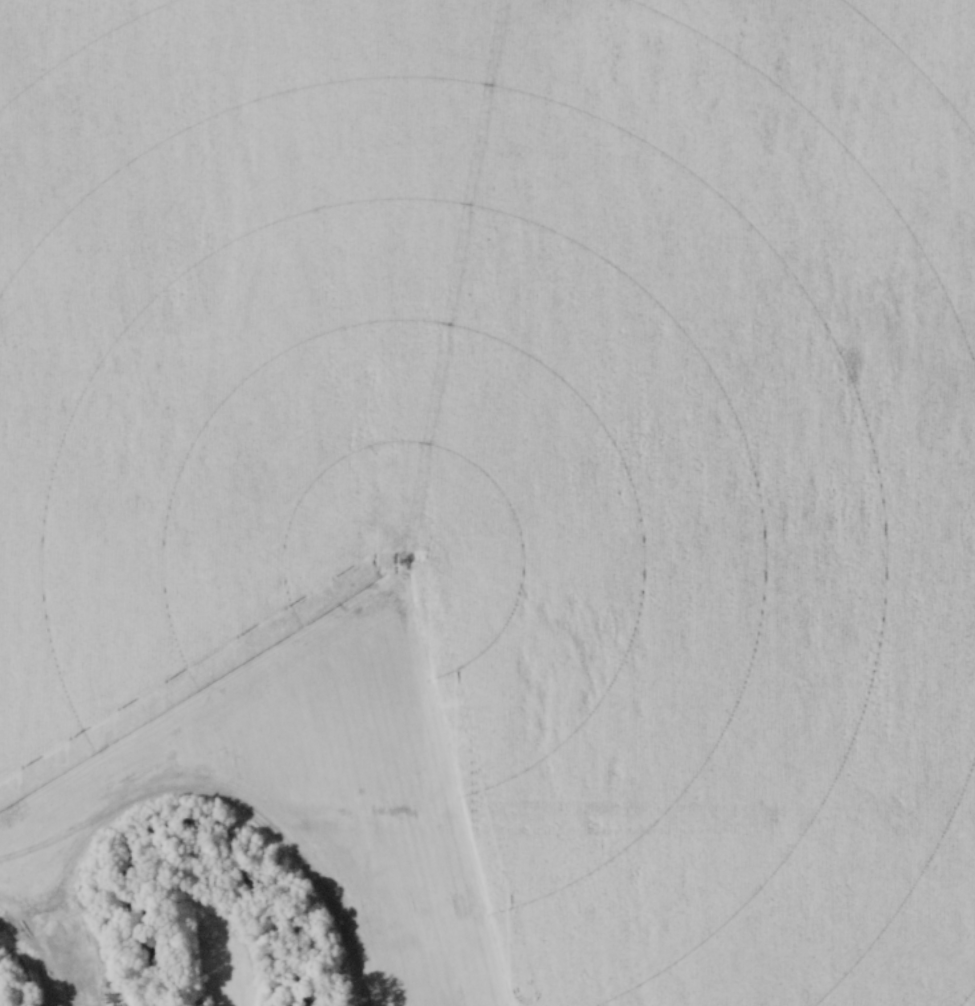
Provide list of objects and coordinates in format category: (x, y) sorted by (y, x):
building: (36, 1001)

